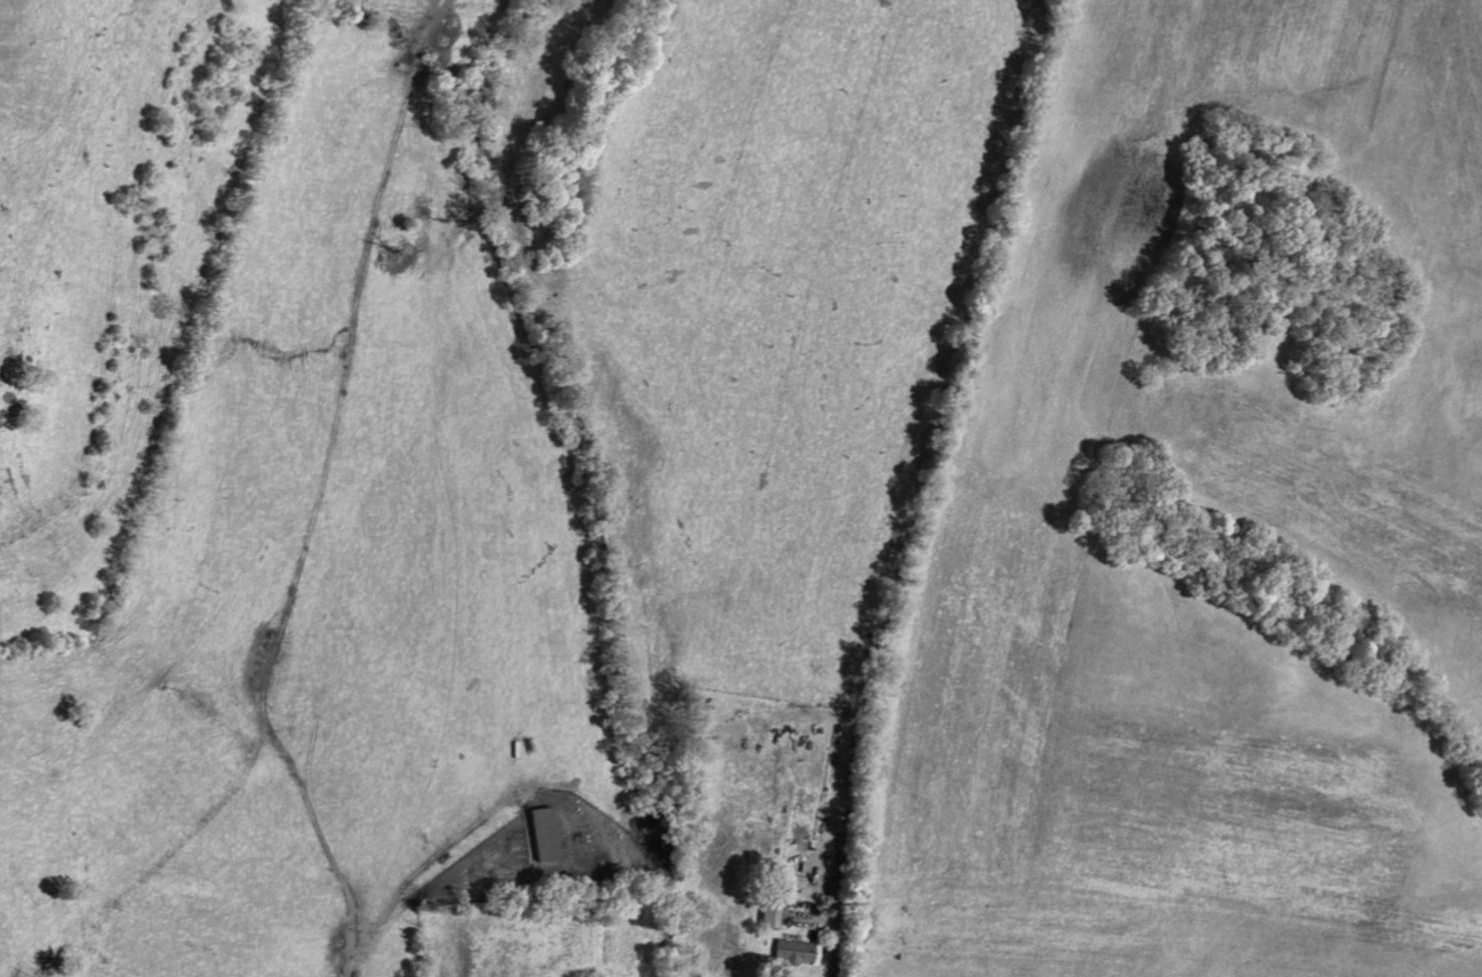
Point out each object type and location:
building: (541, 835)
building: (795, 882)
building: (768, 915)
road: (837, 954)

